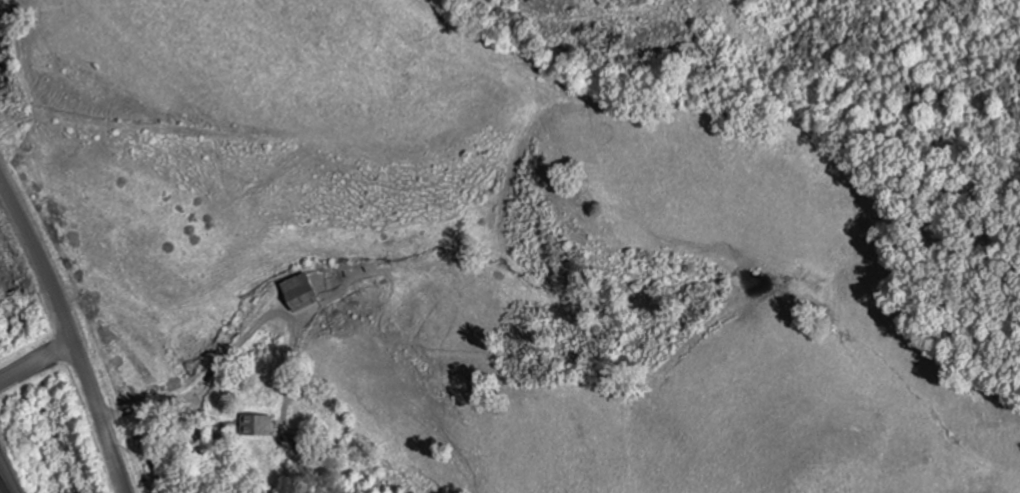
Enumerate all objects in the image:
building: (296, 293)
road: (70, 335)
road: (37, 365)
building: (257, 426)
road: (4, 485)

